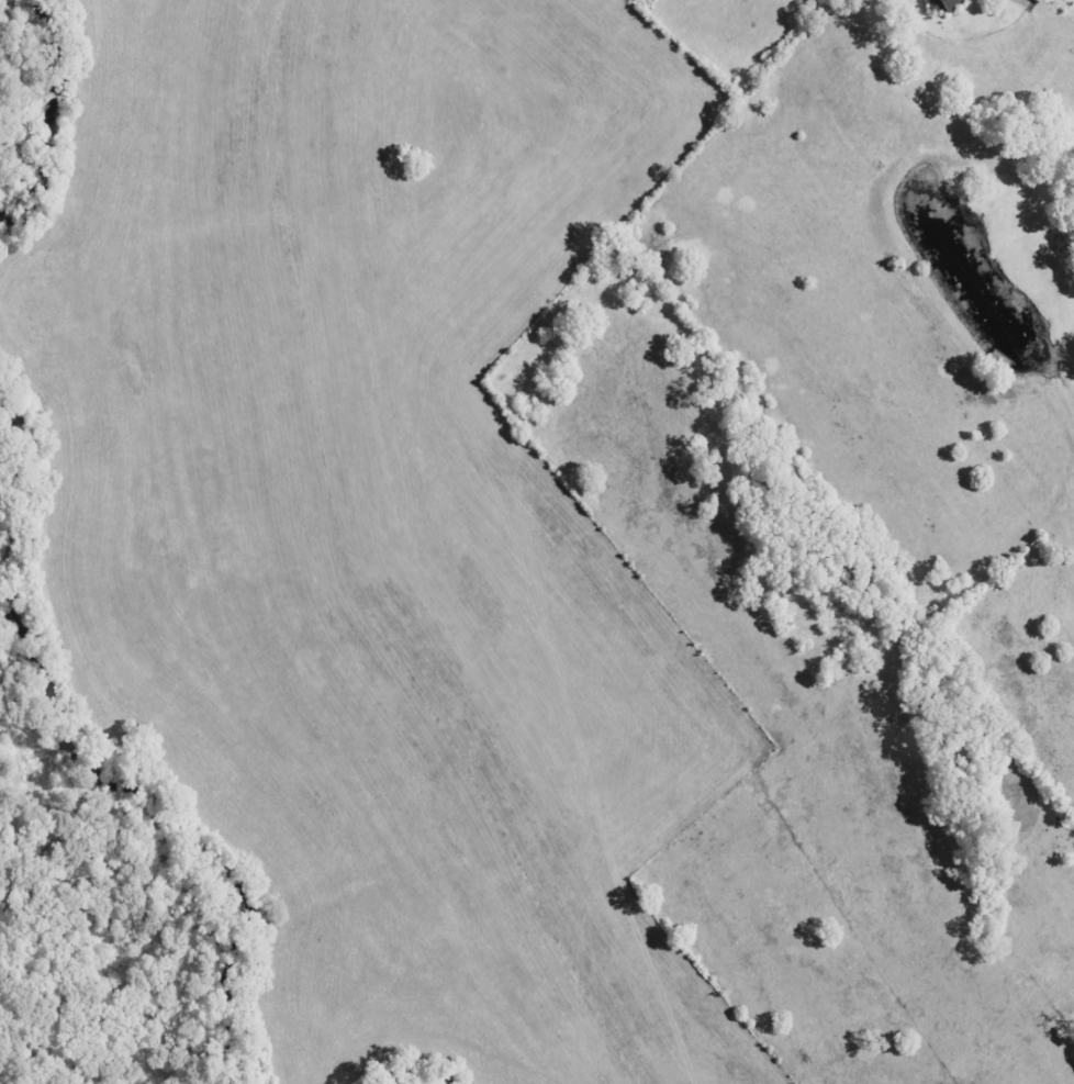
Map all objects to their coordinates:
building: (942, 5)
road: (1054, 9)

